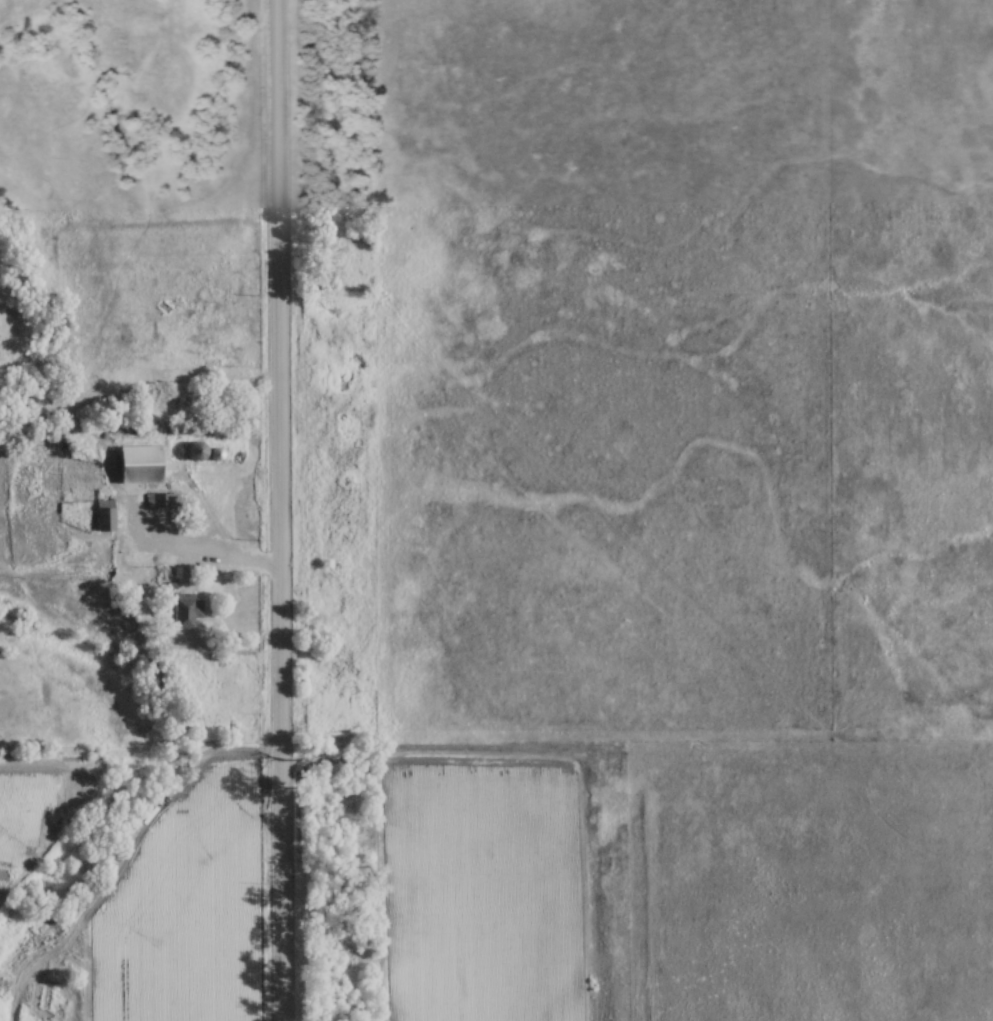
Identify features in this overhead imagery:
silo: (195, 449)
building: (193, 452)
silo: (215, 453)
building: (138, 466)
building: (159, 499)
road: (215, 504)
road: (281, 510)
building: (103, 519)
road: (179, 549)
building: (185, 609)
crop: (481, 889)

